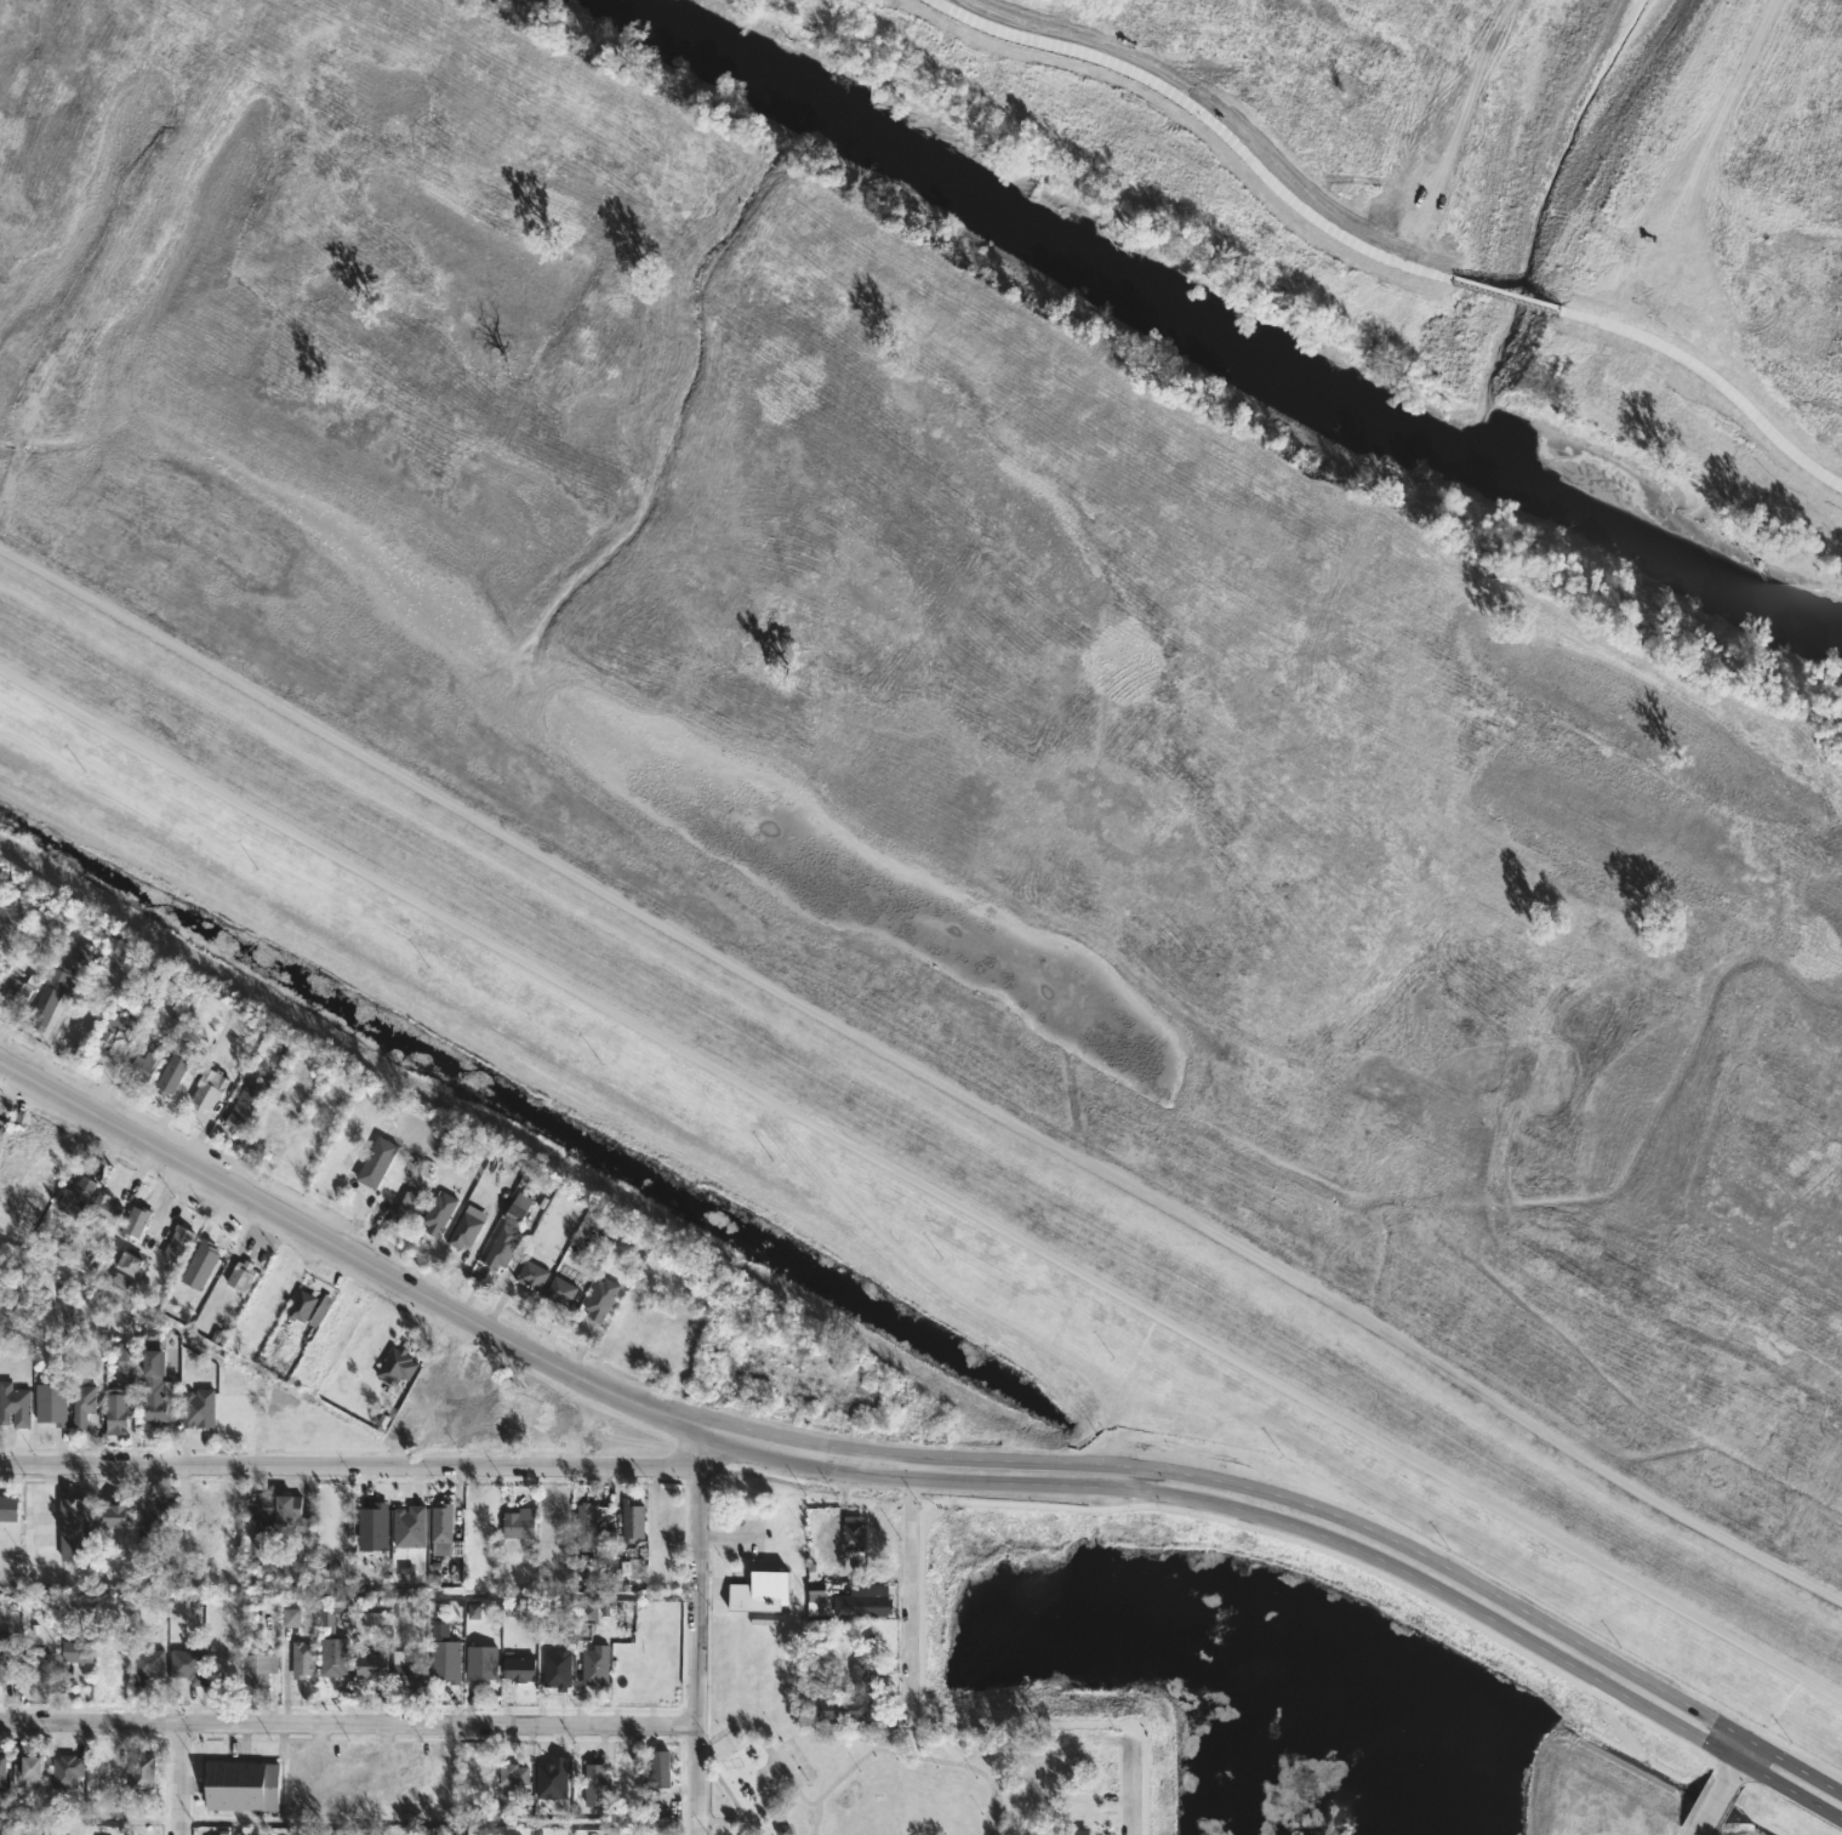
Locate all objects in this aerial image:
river: (1232, 352)
park: (1020, 683)
building: (82, 952)
building: (15, 990)
building: (51, 1007)
building: (107, 1039)
building: (142, 1067)
road: (923, 1071)
building: (169, 1079)
building: (207, 1089)
building: (241, 1109)
building: (0, 1121)
building: (0, 1127)
building: (375, 1158)
road: (920, 1181)
building: (74, 1197)
building: (406, 1207)
building: (518, 1208)
building: (103, 1209)
building: (438, 1214)
building: (133, 1223)
building: (467, 1227)
building: (176, 1244)
building: (502, 1248)
road: (343, 1250)
building: (132, 1265)
building: (200, 1265)
building: (240, 1275)
building: (531, 1276)
road: (942, 1290)
building: (560, 1292)
building: (600, 1300)
building: (300, 1305)
building: (150, 1328)
building: (126, 1366)
building: (395, 1367)
building: (155, 1398)
building: (12, 1401)
building: (81, 1402)
building: (50, 1404)
building: (115, 1408)
building: (196, 1408)
road: (764, 1432)
road: (757, 1449)
road: (966, 1457)
road: (348, 1465)
road: (960, 1481)
building: (7, 1506)
building: (193, 1510)
building: (152, 1514)
building: (112, 1516)
building: (276, 1518)
building: (666, 1518)
building: (632, 1520)
building: (441, 1521)
building: (519, 1521)
building: (587, 1526)
building: (74, 1527)
building: (370, 1527)
building: (407, 1527)
building: (852, 1533)
building: (439, 1548)
building: (631, 1567)
building: (406, 1573)
road: (908, 1588)
building: (760, 1590)
road: (1488, 1591)
building: (816, 1595)
building: (865, 1600)
building: (473, 1611)
building: (587, 1612)
building: (326, 1614)
road: (1487, 1615)
building: (291, 1617)
road: (698, 1629)
building: (75, 1651)
building: (5, 1656)
building: (332, 1656)
building: (302, 1658)
building: (445, 1659)
building: (481, 1663)
building: (36, 1664)
building: (371, 1664)
building: (595, 1664)
building: (147, 1666)
building: (184, 1666)
building: (557, 1668)
building: (110, 1670)
building: (406, 1670)
building: (257, 1671)
building: (515, 1671)
building: (862, 1675)
building: (849, 1710)
road: (349, 1723)
park: (792, 1760)
building: (2, 1770)
building: (27, 1770)
building: (553, 1770)
building: (658, 1770)
building: (65, 1771)
building: (142, 1773)
building: (513, 1773)
building: (485, 1776)
park: (862, 1777)
road: (182, 1779)
road: (1130, 1779)
building: (595, 1784)
building: (241, 1785)
road: (1720, 1788)
road: (440, 1822)
building: (783, 1828)
building: (23, 1829)
building: (1071, 1831)

